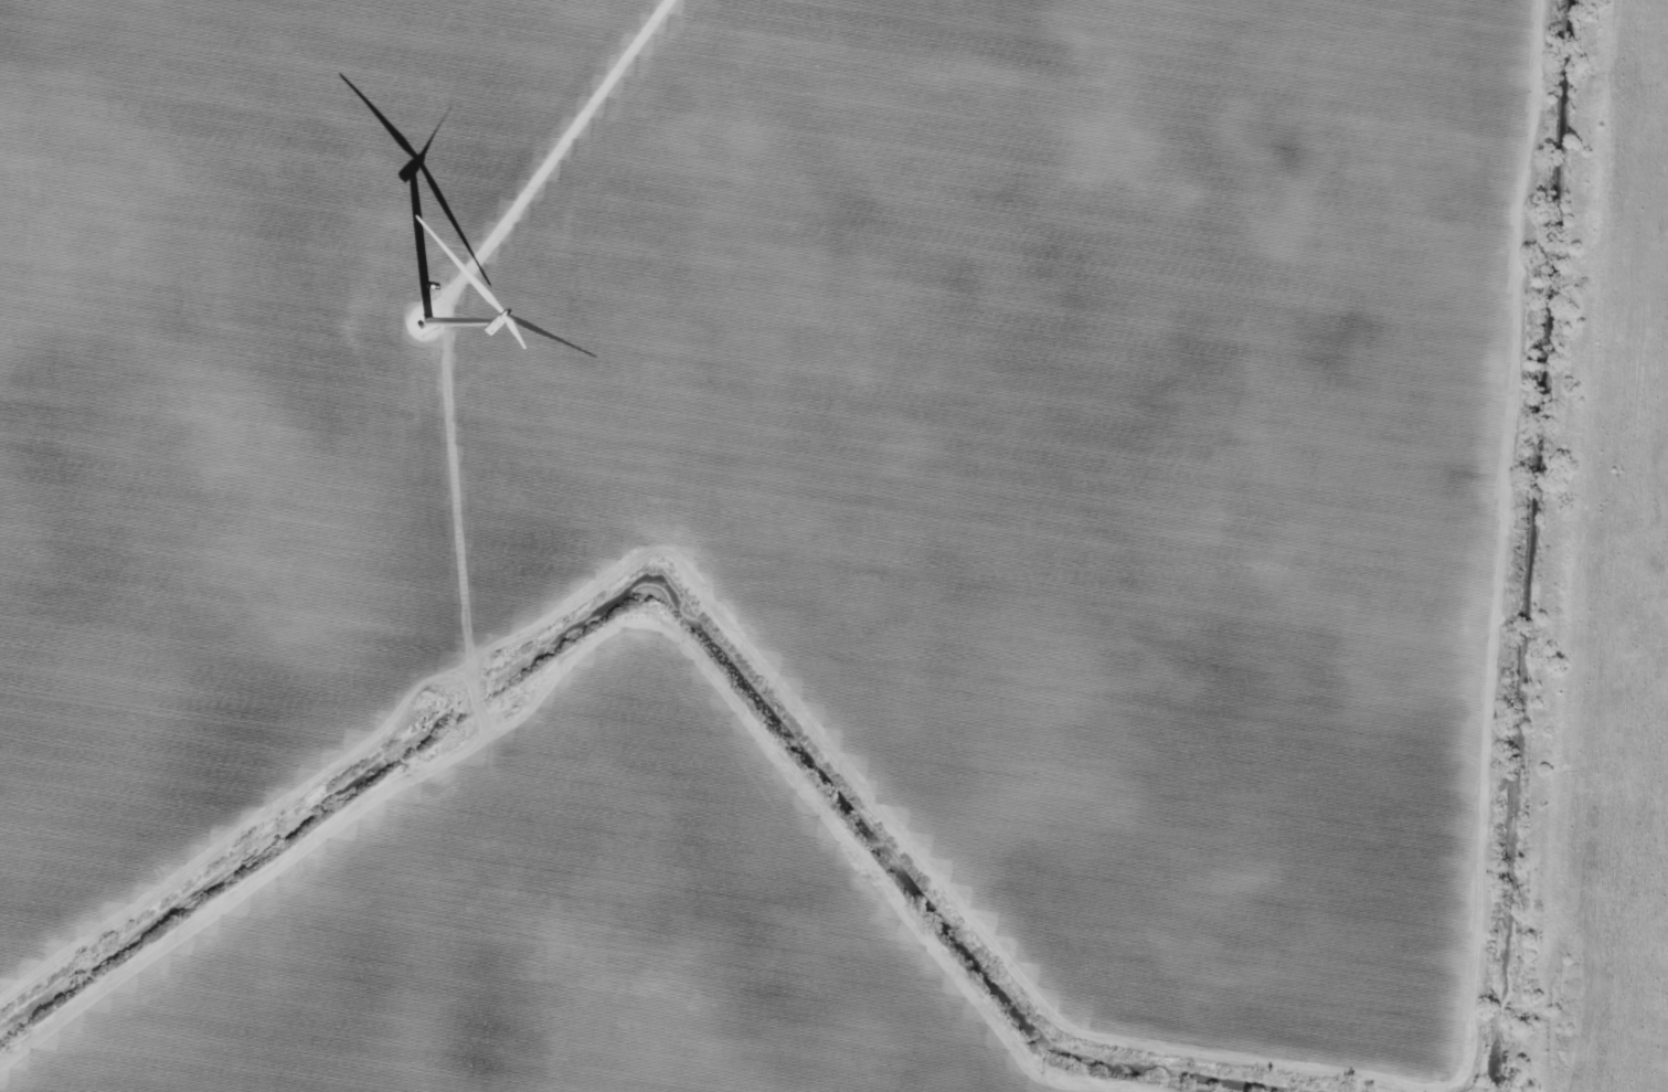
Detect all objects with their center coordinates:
river: (826, 12)
wind turbine: (428, 320)

